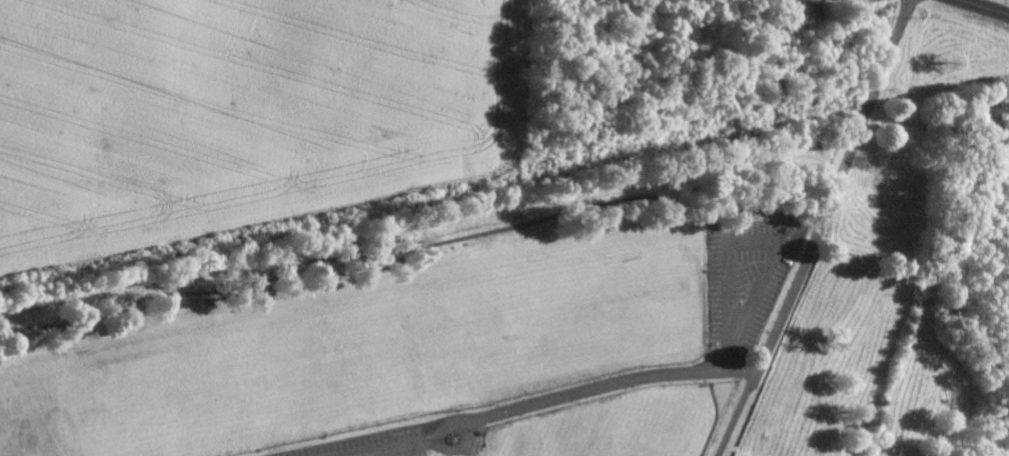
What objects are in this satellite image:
road: (982, 8)
building: (792, 9)
road: (820, 228)
park: (453, 345)

